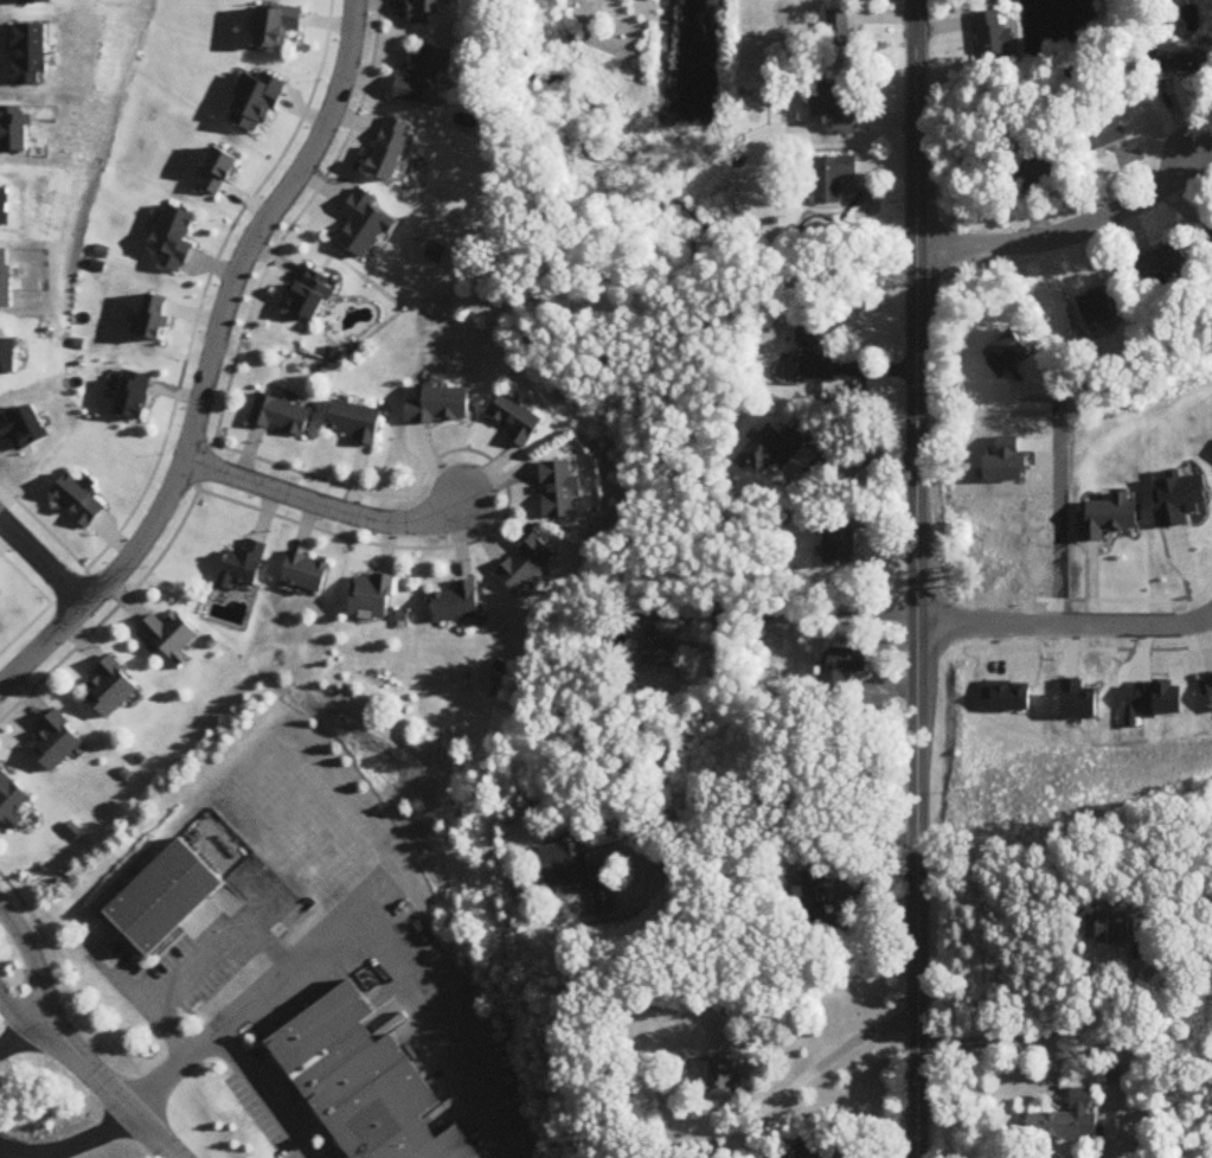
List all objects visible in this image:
building: (427, 11)
building: (840, 38)
building: (996, 38)
building: (1185, 59)
building: (427, 79)
building: (831, 110)
building: (1096, 140)
building: (391, 151)
building: (1038, 169)
building: (833, 179)
road: (1066, 235)
building: (1165, 264)
building: (823, 351)
road: (206, 359)
building: (441, 407)
building: (278, 416)
building: (519, 421)
building: (355, 422)
building: (562, 490)
road: (1053, 490)
building: (72, 501)
road: (320, 506)
building: (1071, 516)
building: (840, 539)
road: (43, 556)
building: (238, 565)
building: (527, 565)
building: (302, 574)
road: (918, 578)
building: (370, 596)
building: (457, 604)
road: (1065, 614)
road: (804, 615)
building: (165, 634)
building: (653, 648)
building: (844, 670)
building: (107, 689)
building: (53, 741)
building: (9, 796)
road: (764, 796)
building: (579, 876)
building: (815, 888)
building: (163, 897)
road: (351, 925)
building: (1112, 927)
road: (33, 968)
road: (184, 968)
road: (21, 1019)
road: (1044, 1038)
road: (809, 1075)
building: (722, 1080)
building: (364, 1083)
road: (113, 1094)
road: (262, 1095)
building: (1067, 1119)
road: (65, 1139)
building: (807, 1149)

